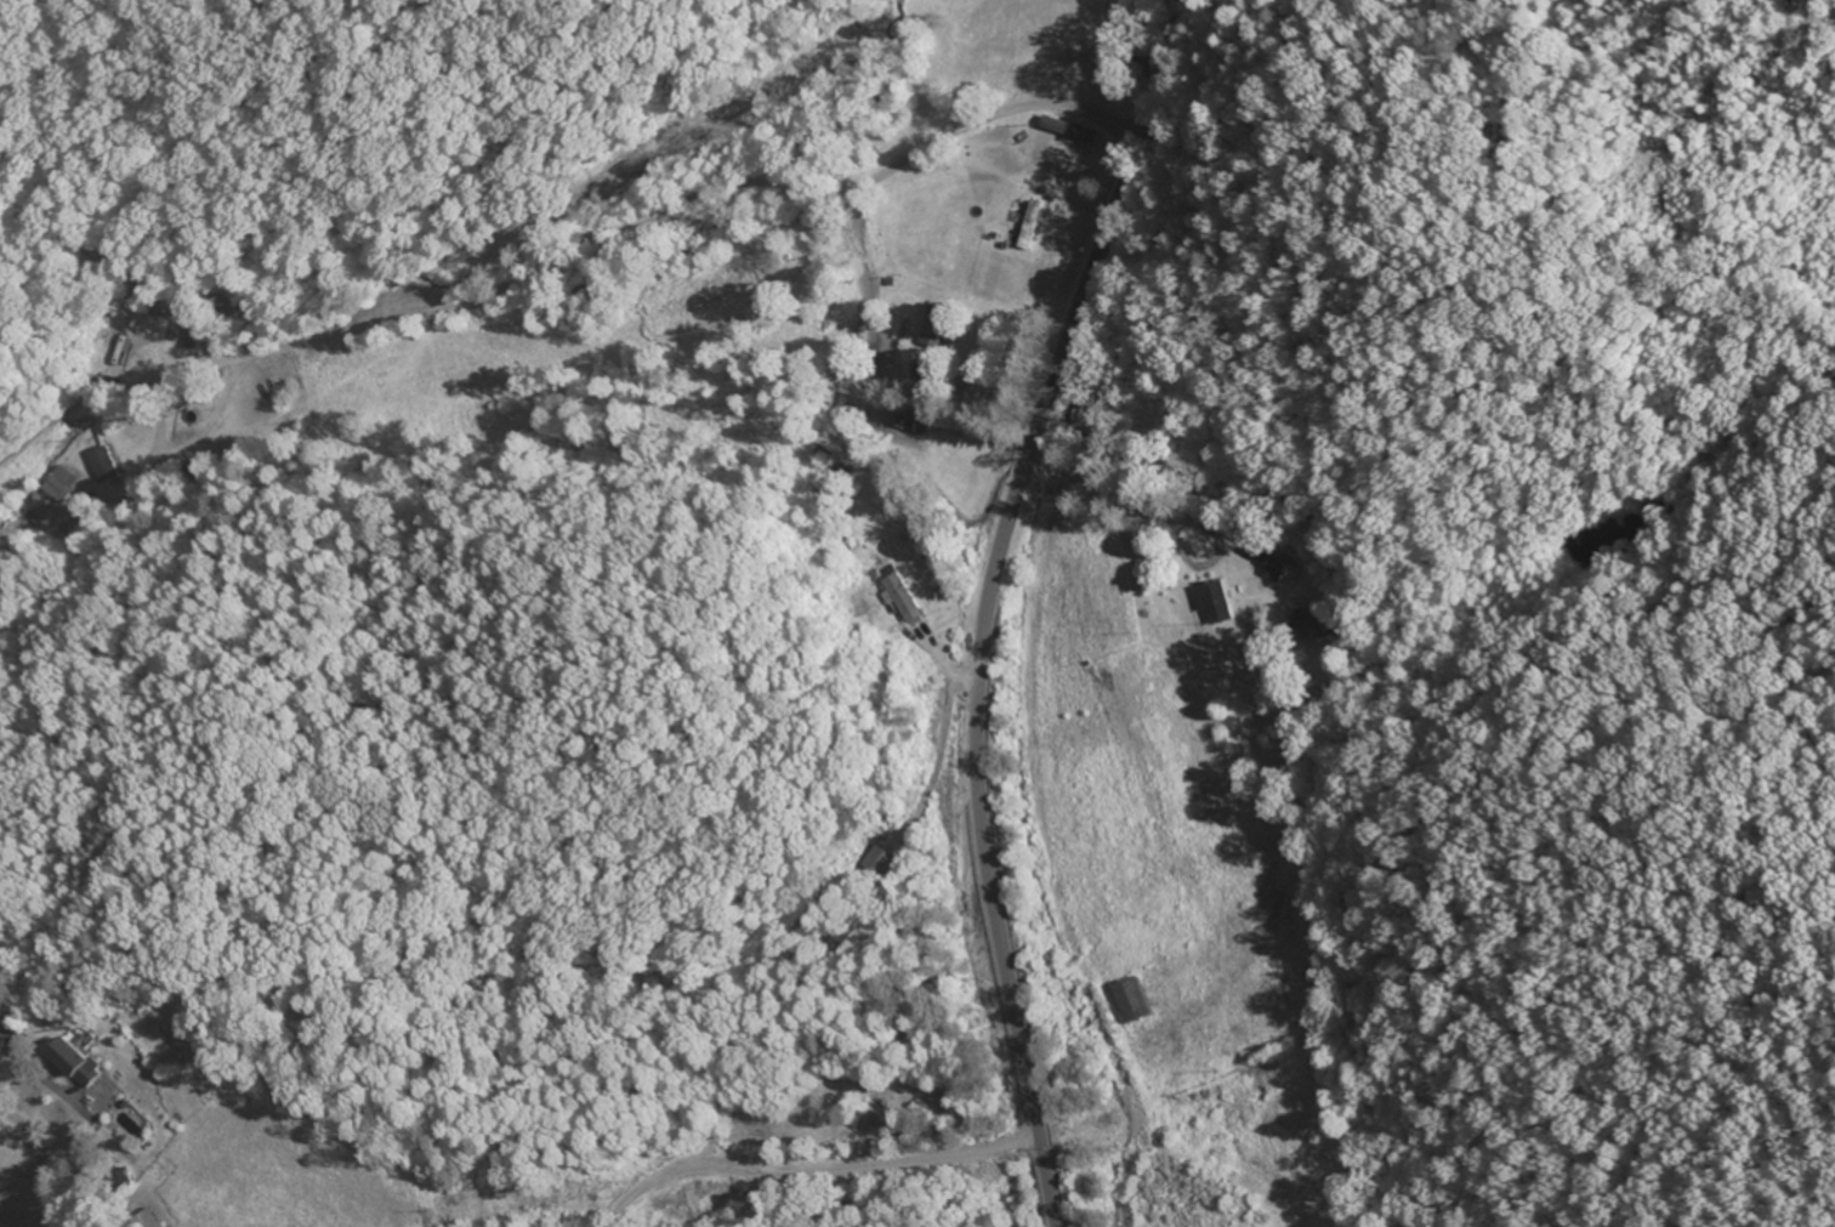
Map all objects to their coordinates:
road: (619, 228)
building: (938, 328)
building: (136, 350)
building: (108, 462)
building: (67, 481)
road: (1259, 559)
building: (1280, 567)
building: (907, 600)
building: (1220, 601)
road: (992, 602)
building: (1312, 624)
building: (879, 862)
building: (1136, 1001)
building: (79, 1062)
road: (19, 1212)
building: (153, 1219)

